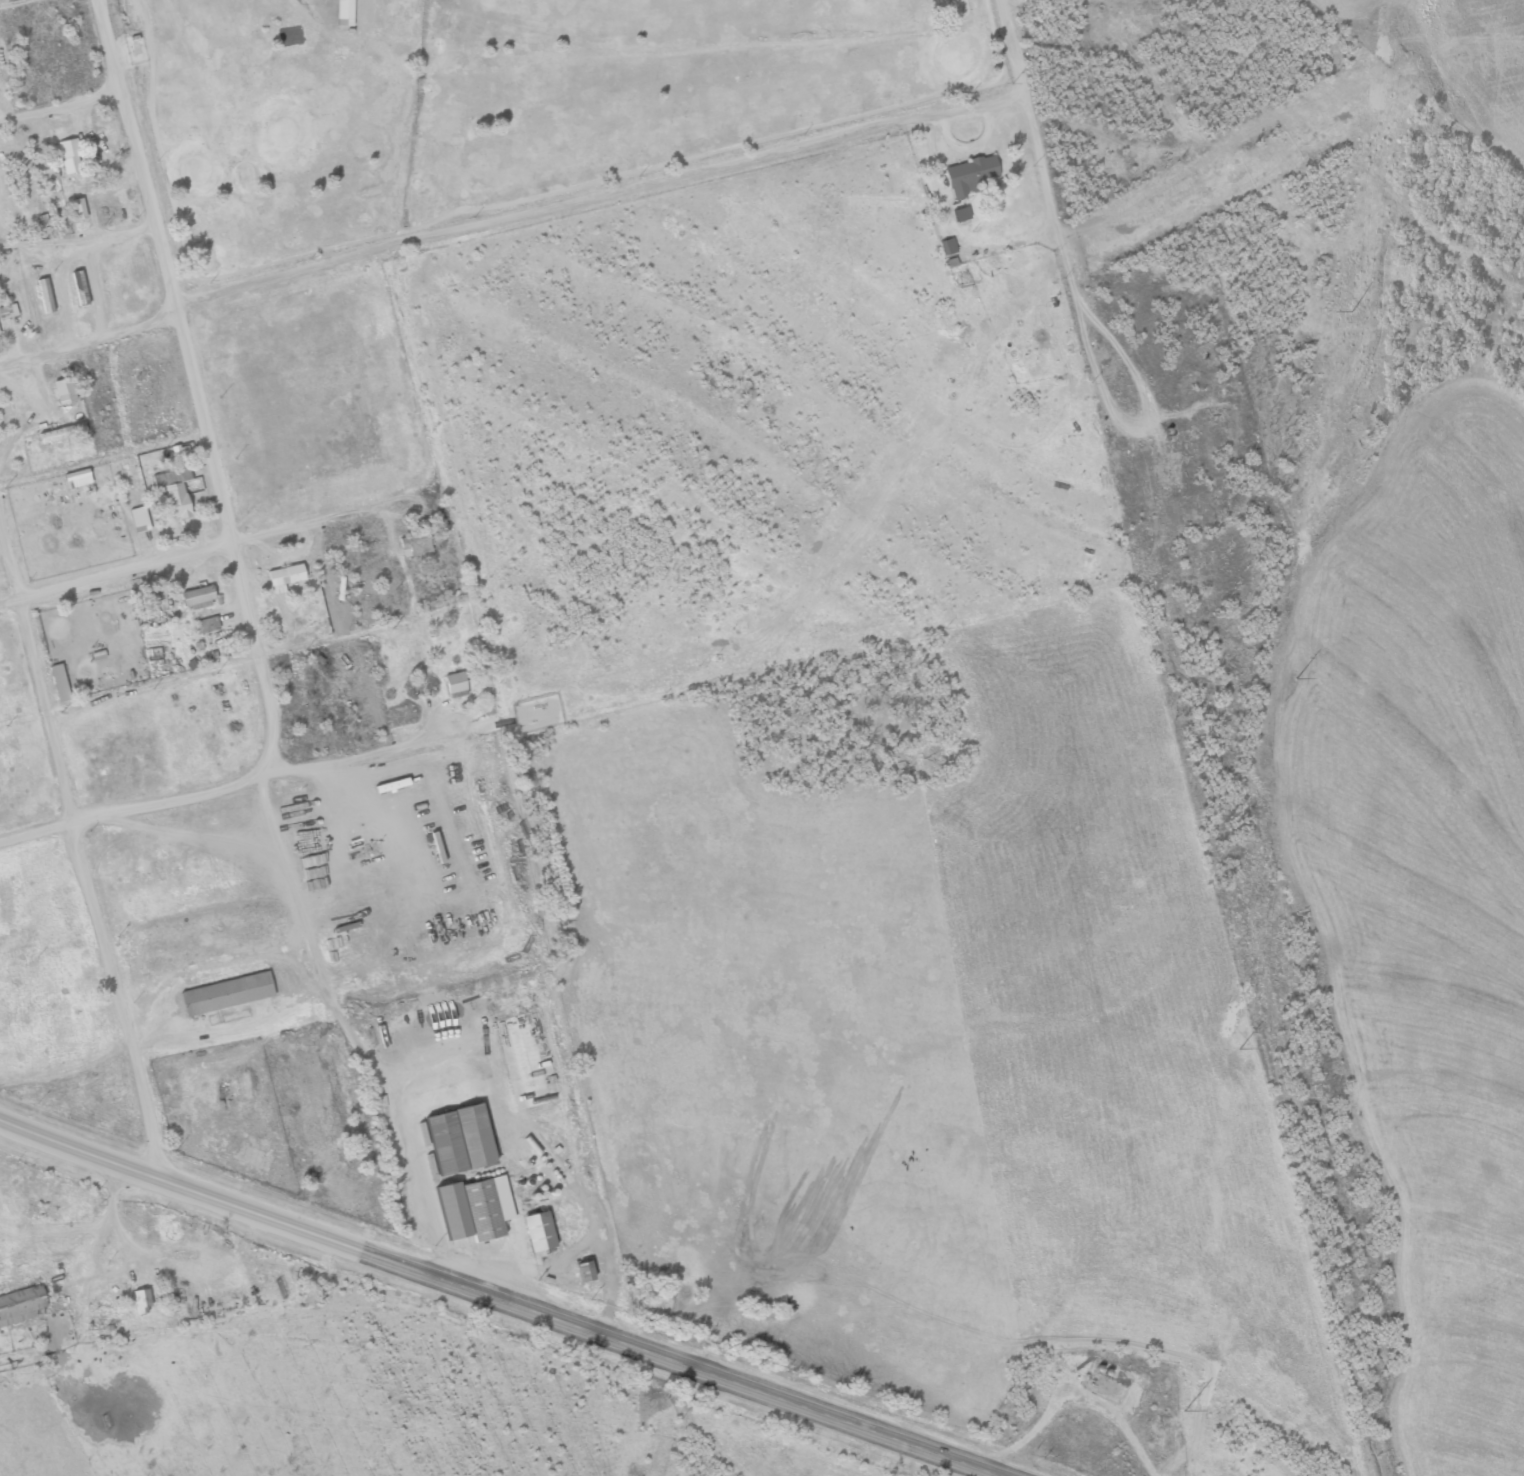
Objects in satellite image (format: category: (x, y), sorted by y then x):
road: (12, 3)
building: (344, 13)
park: (494, 105)
road: (60, 106)
road: (1028, 112)
building: (69, 155)
building: (971, 176)
road: (599, 198)
building: (78, 208)
building: (960, 214)
building: (79, 287)
building: (44, 295)
building: (7, 308)
power tower: (1350, 320)
road: (89, 340)
building: (63, 390)
road: (196, 391)
building: (58, 433)
road: (103, 458)
building: (77, 478)
building: (173, 493)
building: (139, 519)
road: (194, 550)
building: (283, 577)
building: (196, 595)
building: (207, 624)
building: (59, 682)
power tower: (1294, 683)
building: (455, 684)
road: (221, 786)
road: (80, 852)
building: (223, 993)
power tower: (1239, 1041)
building: (473, 1135)
building: (443, 1143)
road: (176, 1188)
building: (473, 1209)
building: (538, 1231)
building: (583, 1272)
building: (142, 1300)
building: (20, 1305)
road: (673, 1362)
power tower: (1184, 1405)

